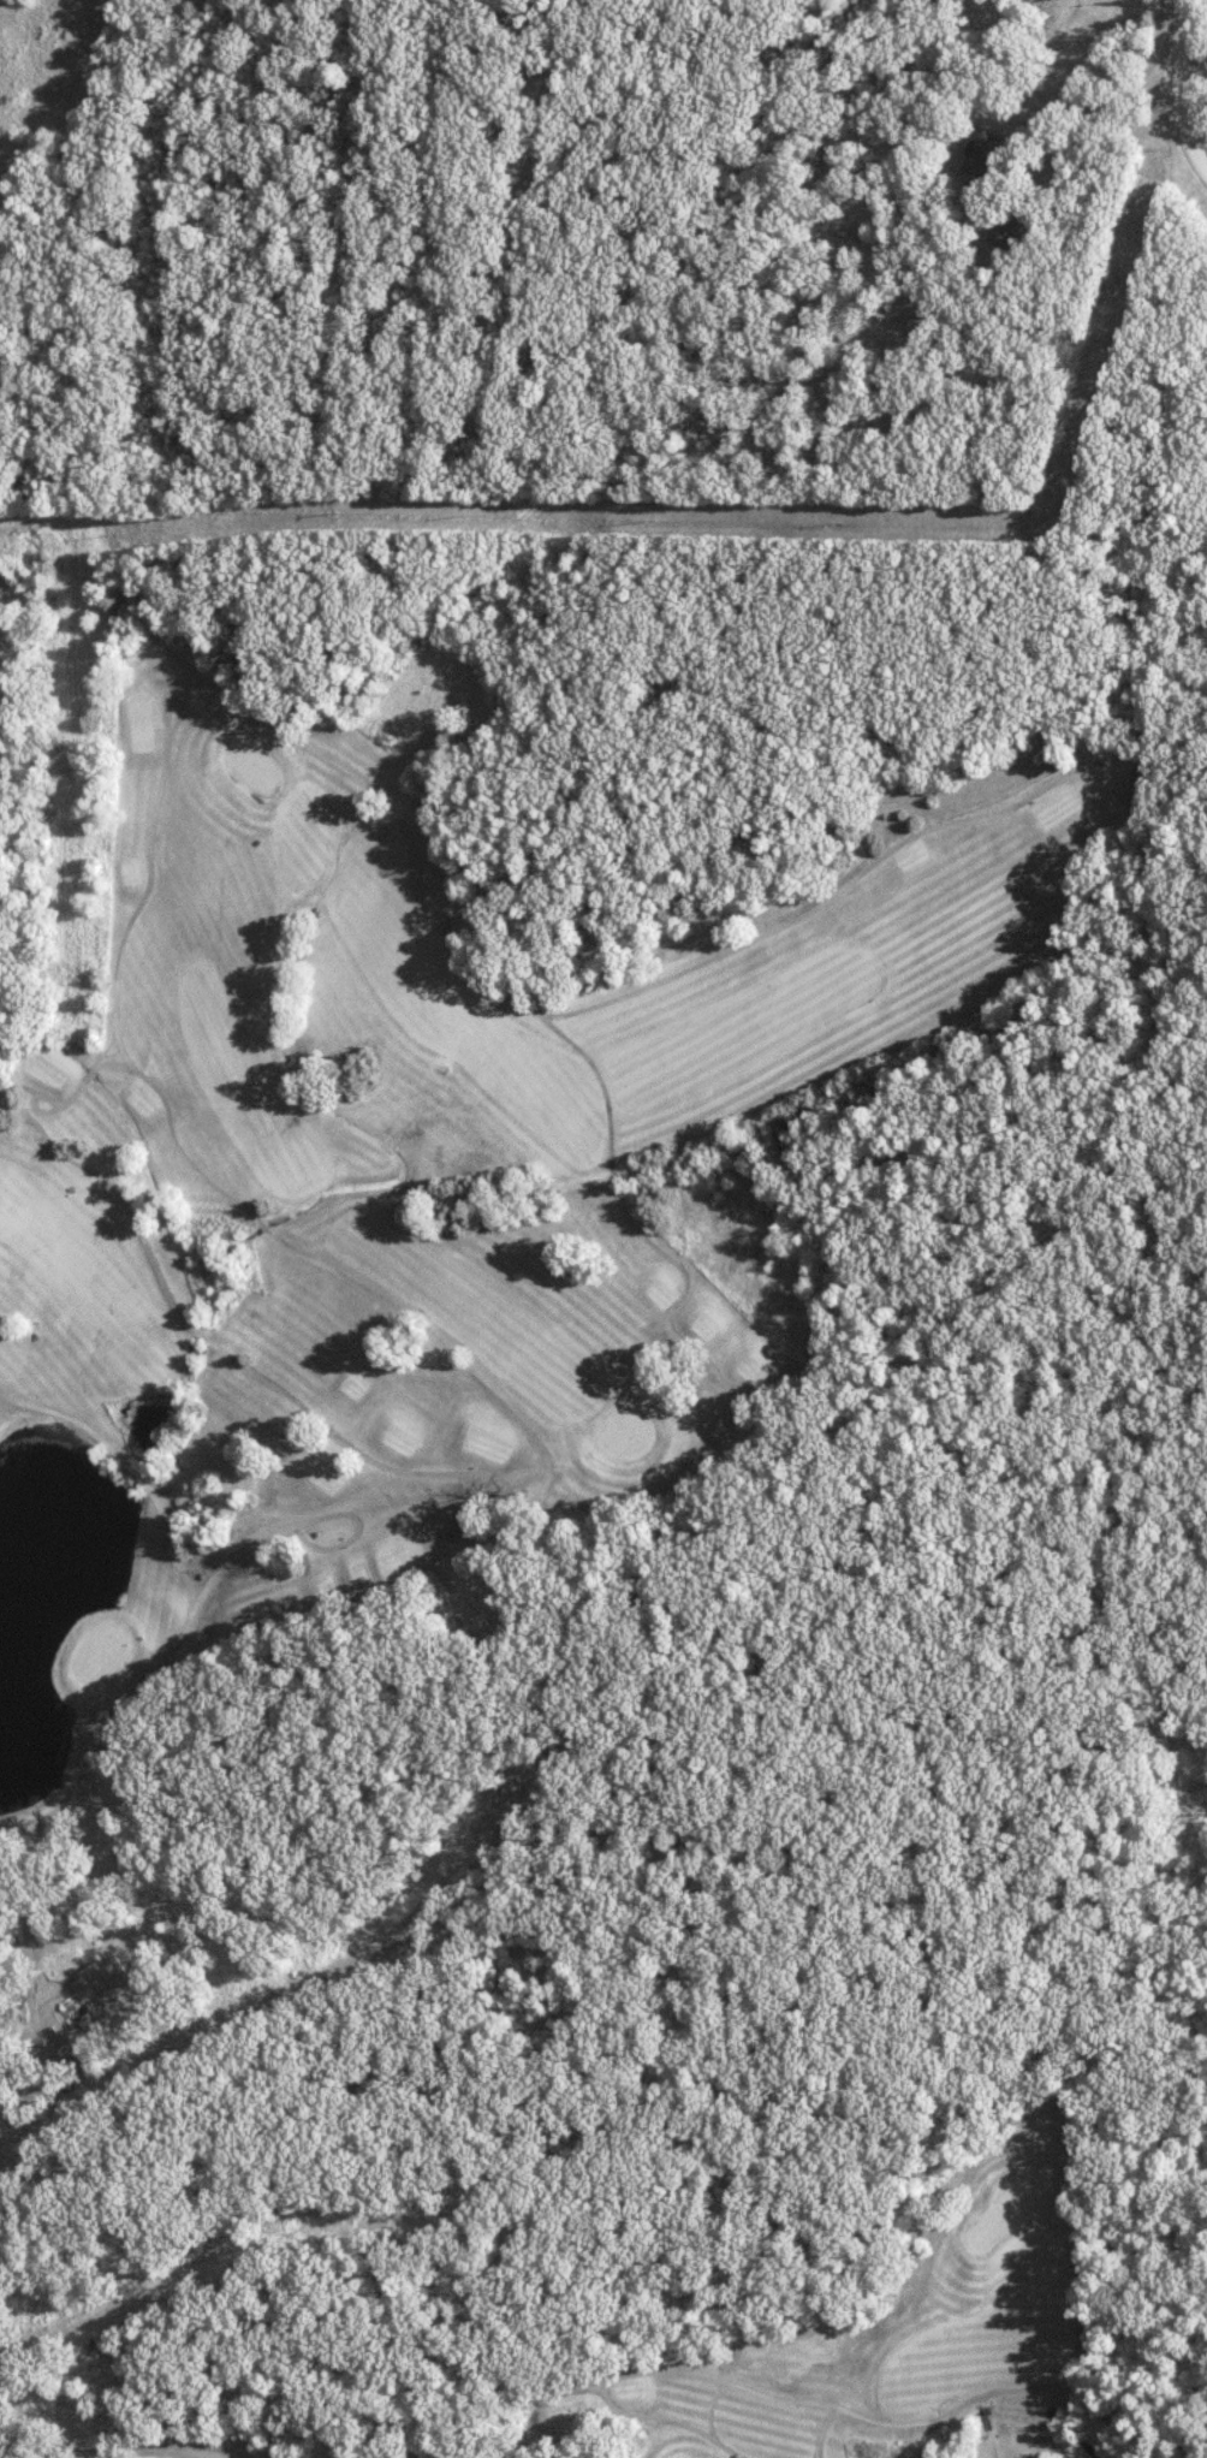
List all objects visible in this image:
road: (1183, 87)
road: (1105, 540)
park: (440, 1177)
park: (803, 2345)

